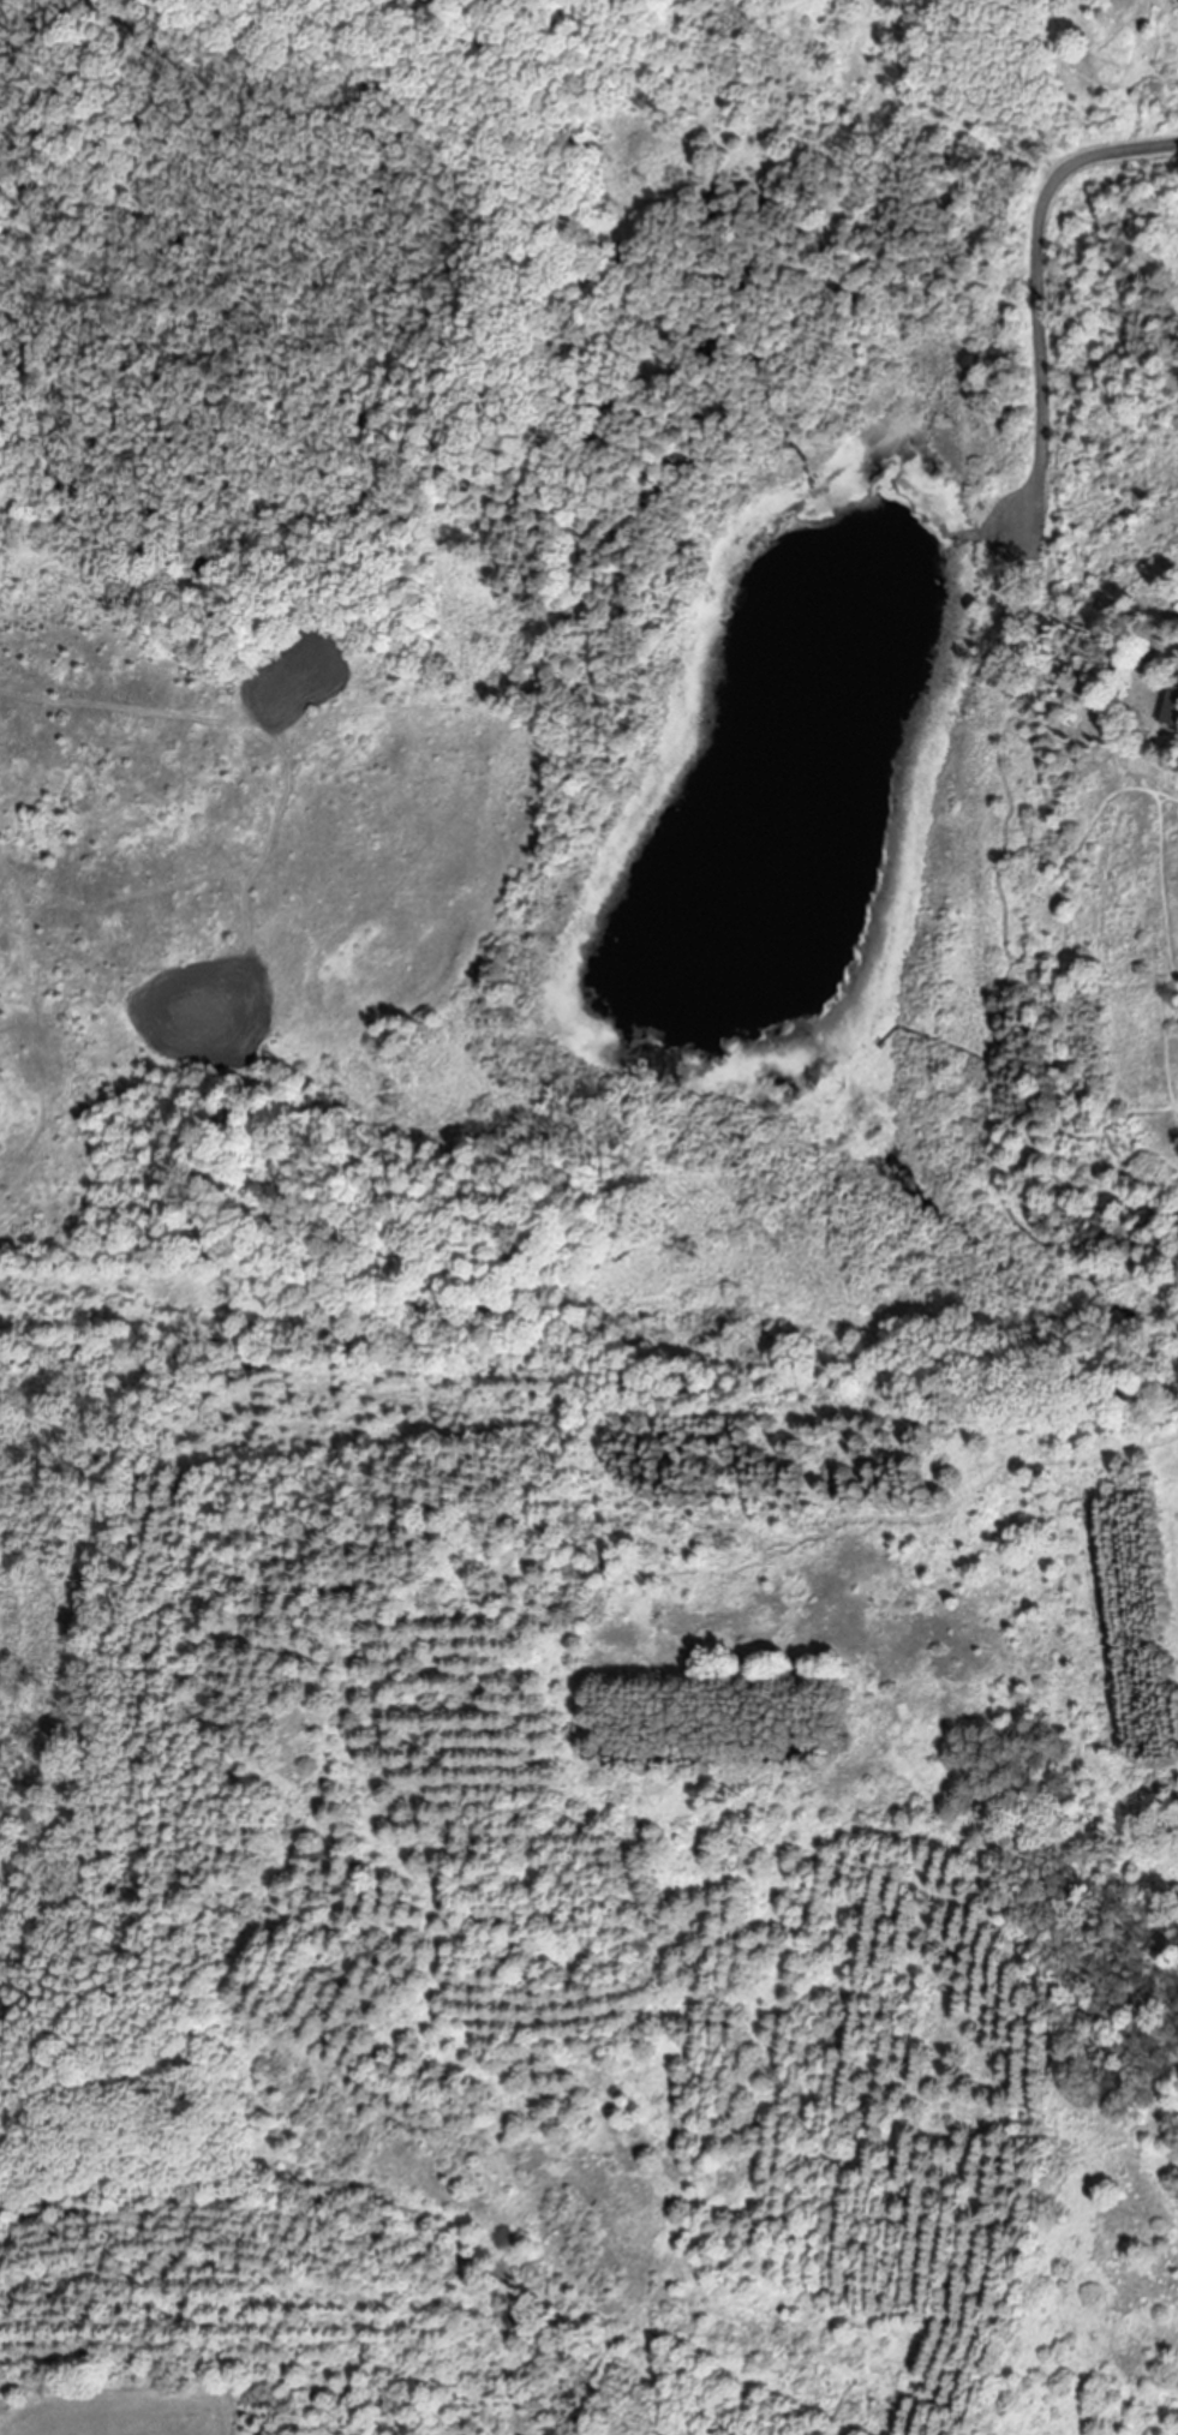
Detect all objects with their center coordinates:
road: (1035, 288)
building: (1173, 706)

